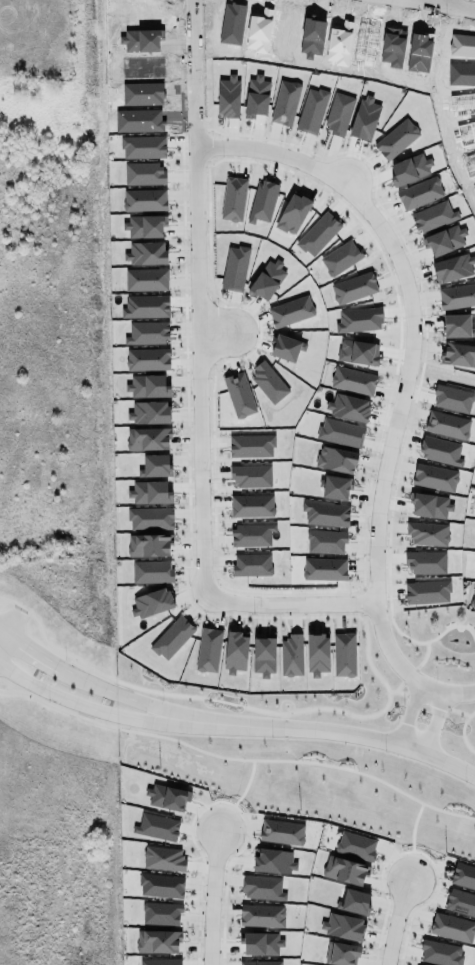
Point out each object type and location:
road: (447, 2)
road: (447, 5)
road: (191, 75)
building: (228, 96)
building: (256, 96)
building: (285, 102)
building: (312, 110)
building: (338, 113)
building: (365, 118)
building: (396, 138)
building: (143, 146)
road: (235, 149)
building: (410, 168)
building: (144, 173)
building: (419, 193)
building: (233, 198)
building: (144, 199)
building: (263, 201)
building: (293, 213)
building: (433, 216)
building: (143, 226)
building: (318, 233)
building: (444, 239)
building: (145, 253)
building: (340, 257)
building: (235, 267)
building: (453, 267)
building: (146, 279)
building: (267, 279)
building: (353, 287)
building: (457, 296)
building: (145, 306)
building: (291, 311)
building: (359, 319)
building: (457, 325)
building: (148, 332)
building: (285, 347)
building: (358, 351)
building: (456, 354)
building: (147, 358)
building: (353, 380)
building: (268, 382)
building: (148, 385)
building: (239, 394)
building: (451, 396)
building: (349, 406)
building: (149, 412)
building: (446, 423)
building: (340, 432)
building: (145, 435)
building: (251, 445)
building: (439, 450)
building: (336, 459)
building: (155, 465)
building: (250, 476)
building: (435, 477)
building: (335, 487)
building: (148, 489)
building: (429, 504)
building: (252, 505)
building: (326, 513)
building: (150, 518)
building: (428, 533)
building: (252, 534)
building: (326, 541)
building: (148, 544)
building: (426, 562)
building: (252, 564)
building: (325, 568)
building: (151, 571)
building: (427, 591)
building: (151, 602)
building: (172, 637)
building: (208, 647)
road: (28, 652)
building: (235, 652)
building: (291, 654)
building: (317, 654)
building: (344, 654)
building: (264, 655)
road: (445, 693)
road: (116, 695)
road: (83, 708)
road: (408, 714)
road: (433, 723)
road: (329, 729)
building: (167, 796)
building: (157, 826)
building: (282, 831)
building: (356, 845)
building: (163, 858)
building: (274, 860)
building: (345, 870)
building: (463, 875)
building: (161, 885)
building: (262, 887)
road: (211, 898)
building: (354, 901)
building: (460, 901)
building: (161, 913)
building: (262, 915)
road: (393, 916)
building: (343, 926)
building: (452, 927)
building: (157, 939)
building: (439, 952)
building: (341, 953)
building: (159, 961)
building: (260, 962)

